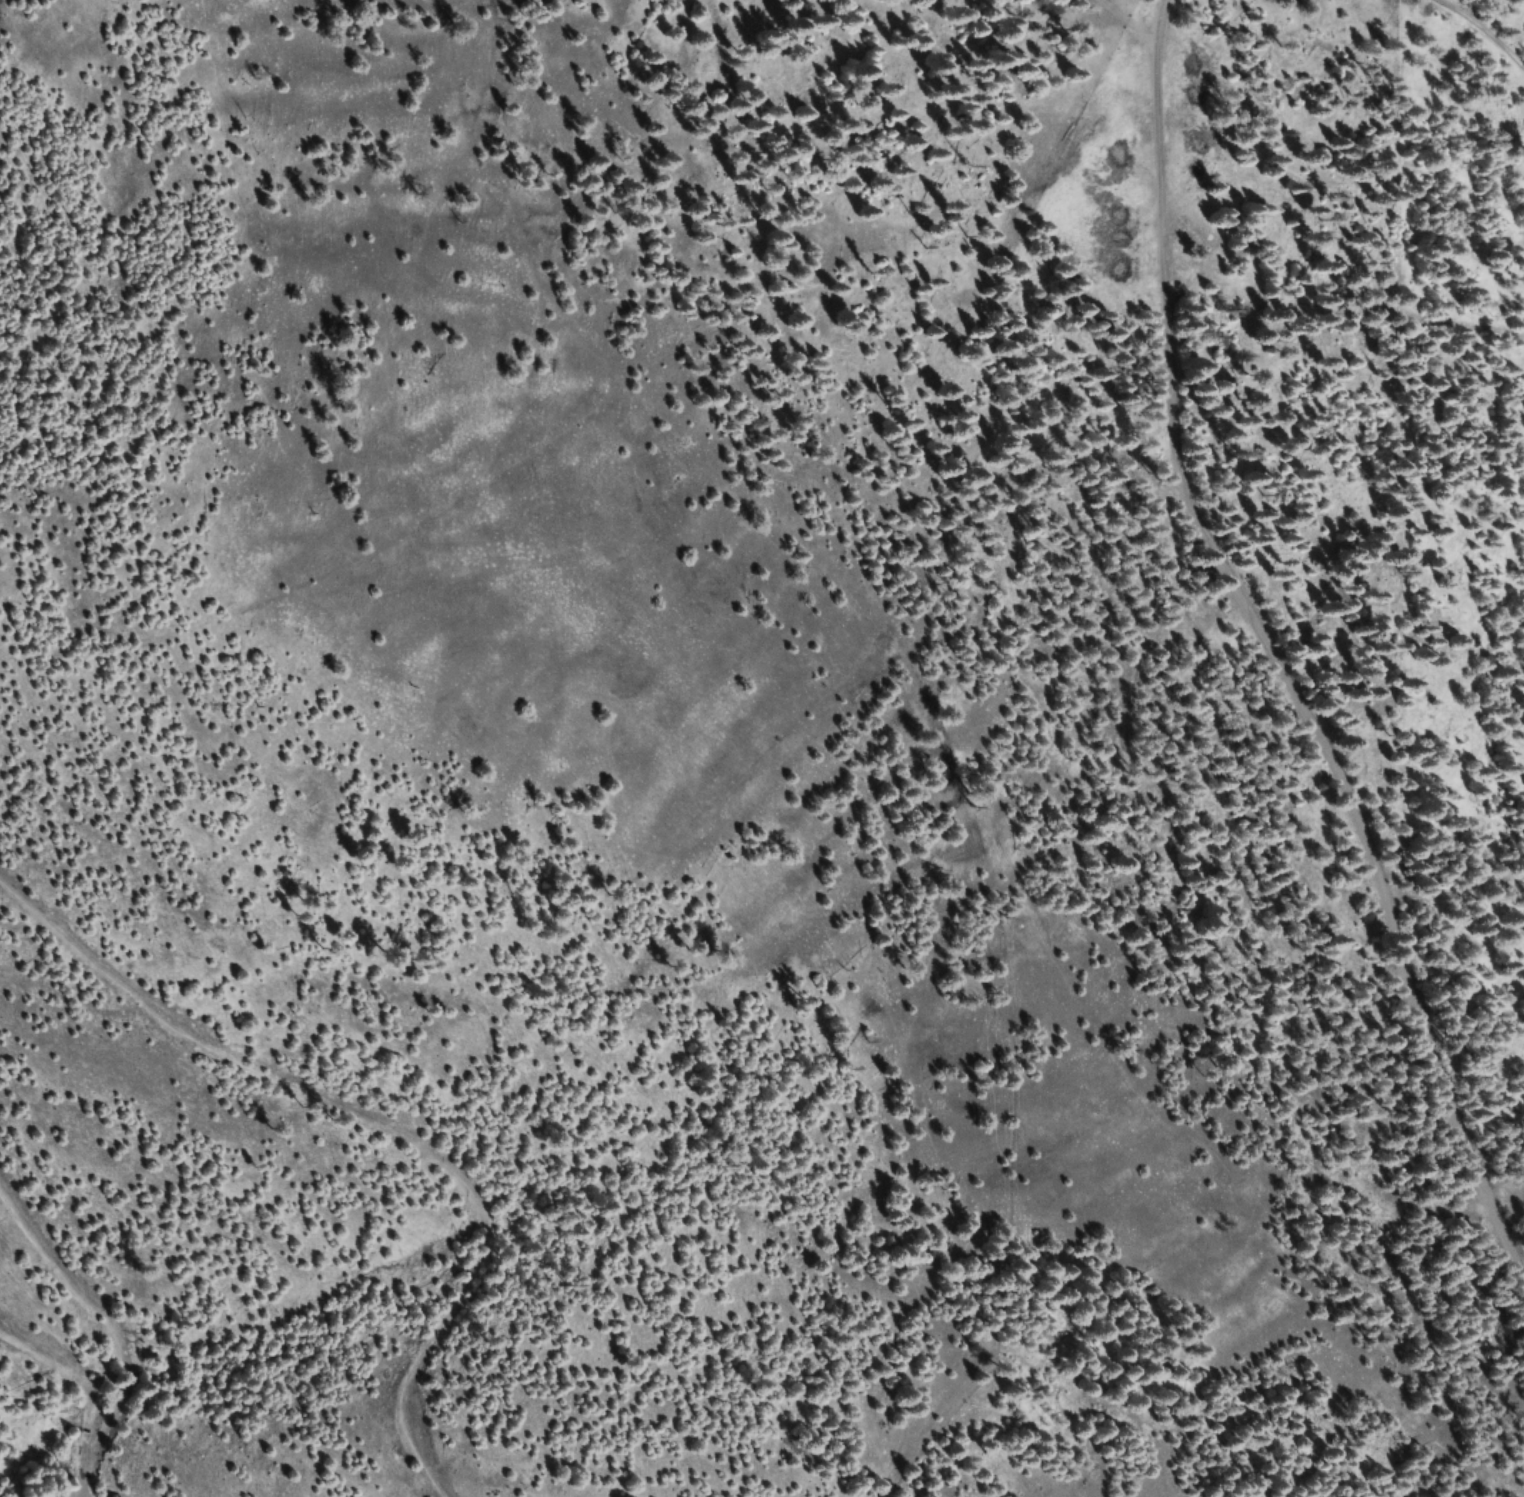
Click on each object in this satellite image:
road: (155, 513)
road: (1287, 589)
road: (136, 1272)

